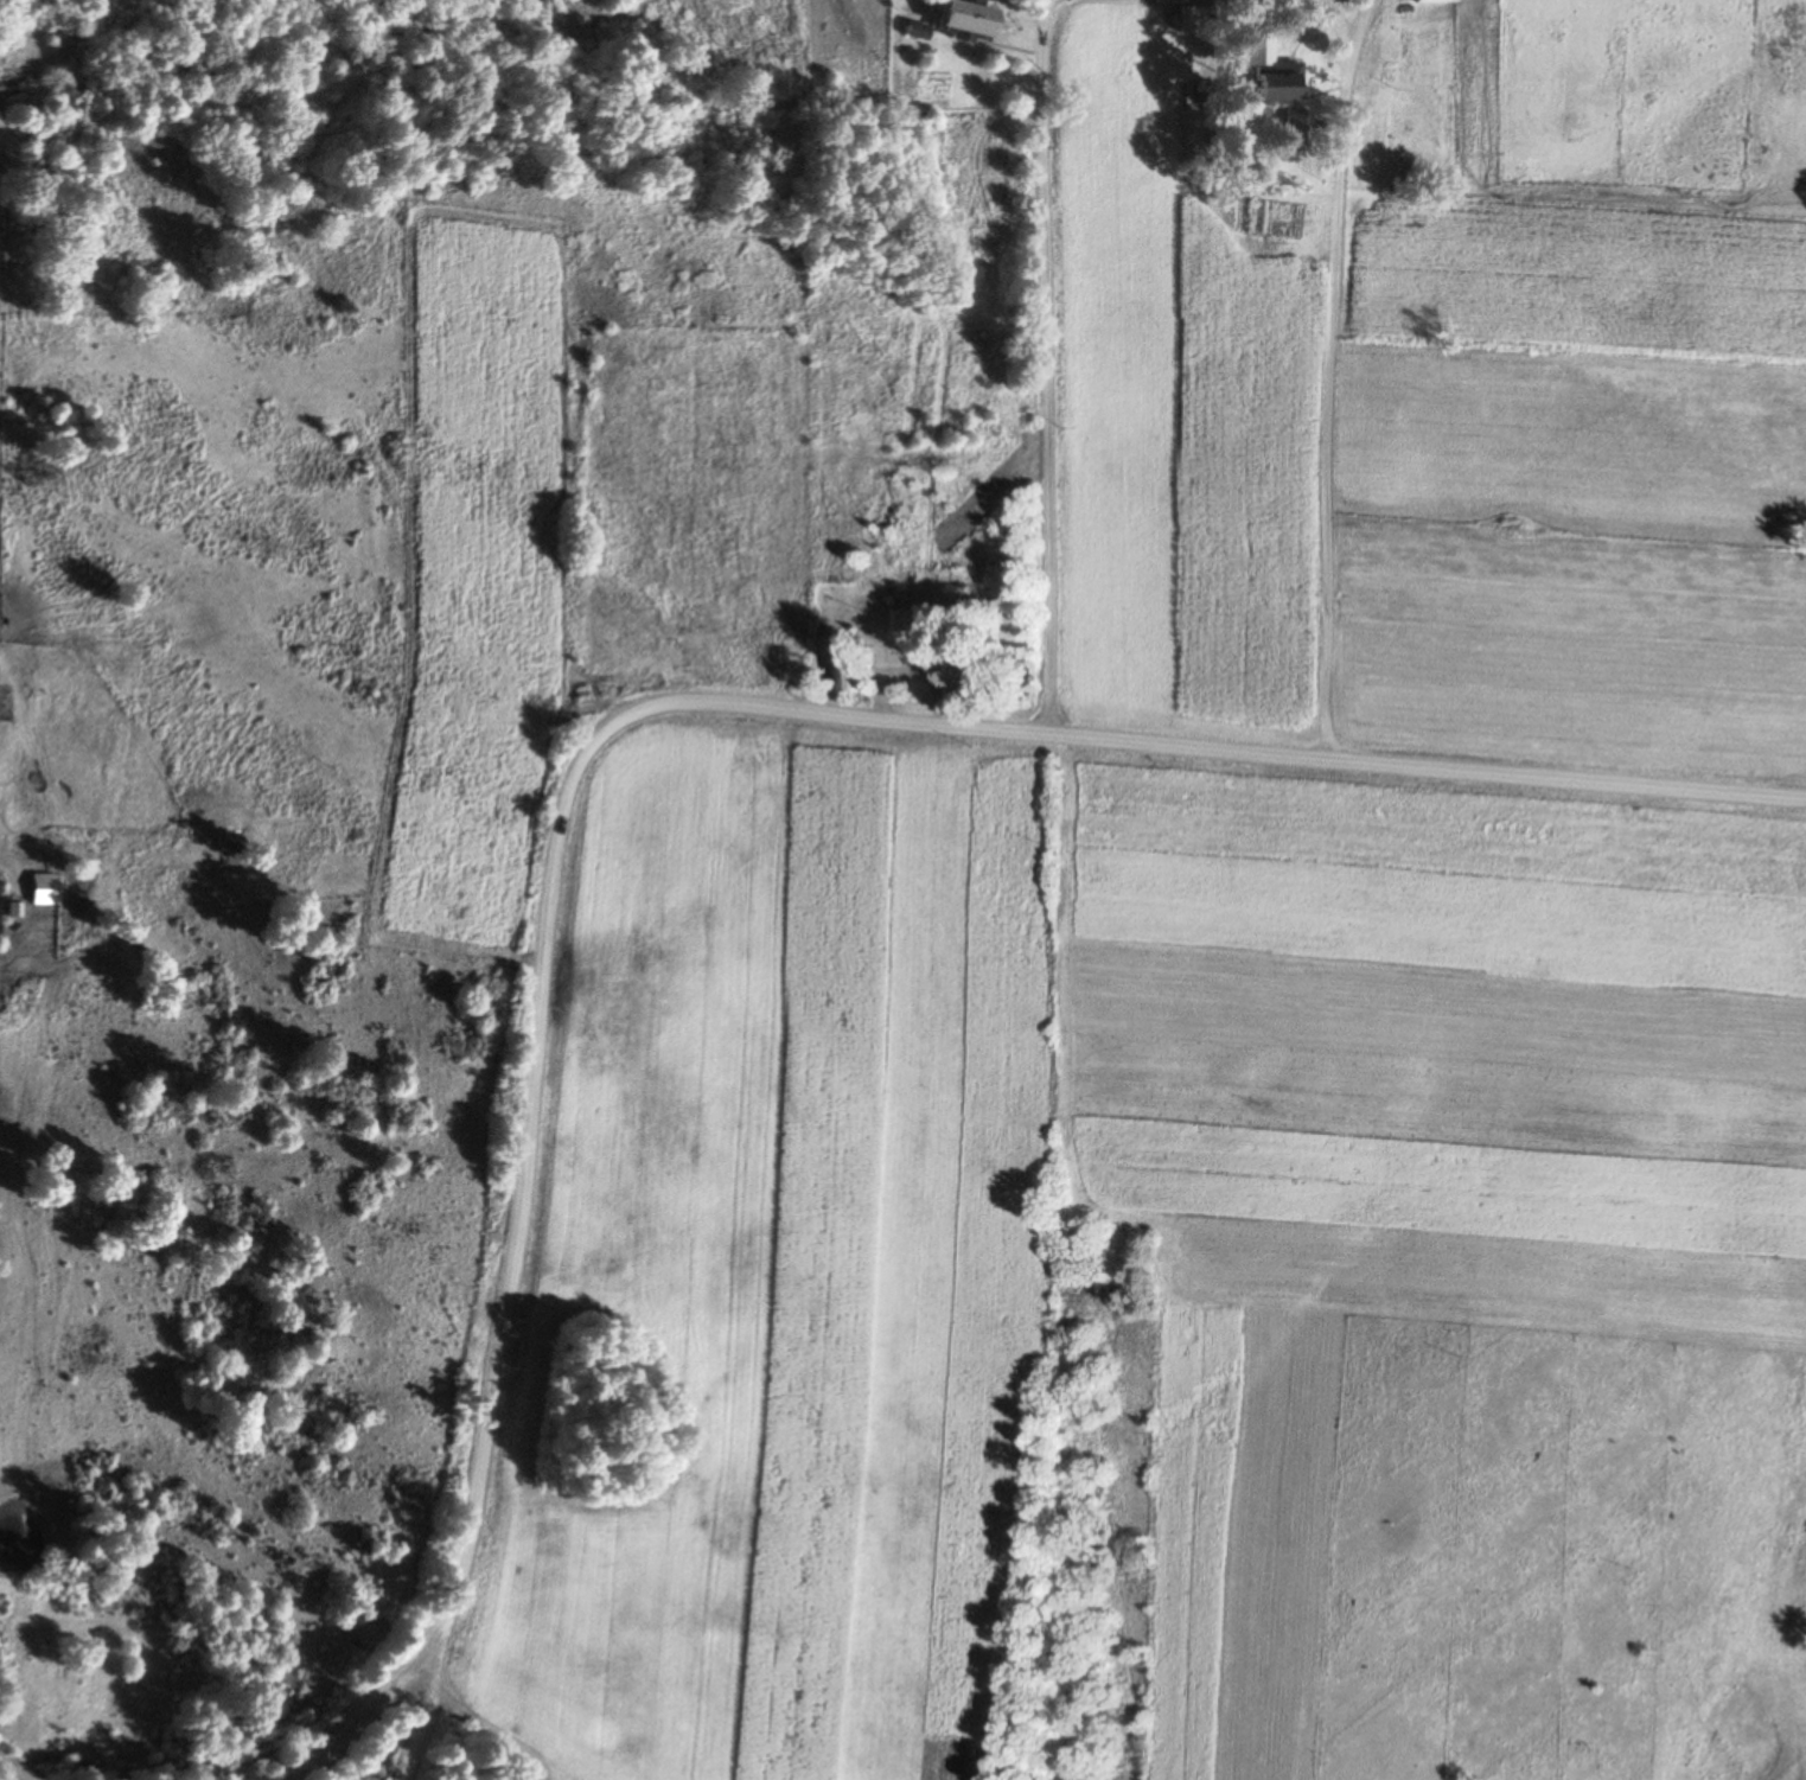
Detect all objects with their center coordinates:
building: (1430, 2)
building: (947, 21)
building: (1265, 89)
building: (1289, 129)
building: (1368, 154)
road: (1028, 368)
road: (1347, 375)
building: (889, 619)
building: (848, 669)
road: (671, 709)
building: (42, 888)
road: (376, 1708)
road: (293, 1773)
road: (7, 1775)
road: (402, 1775)

